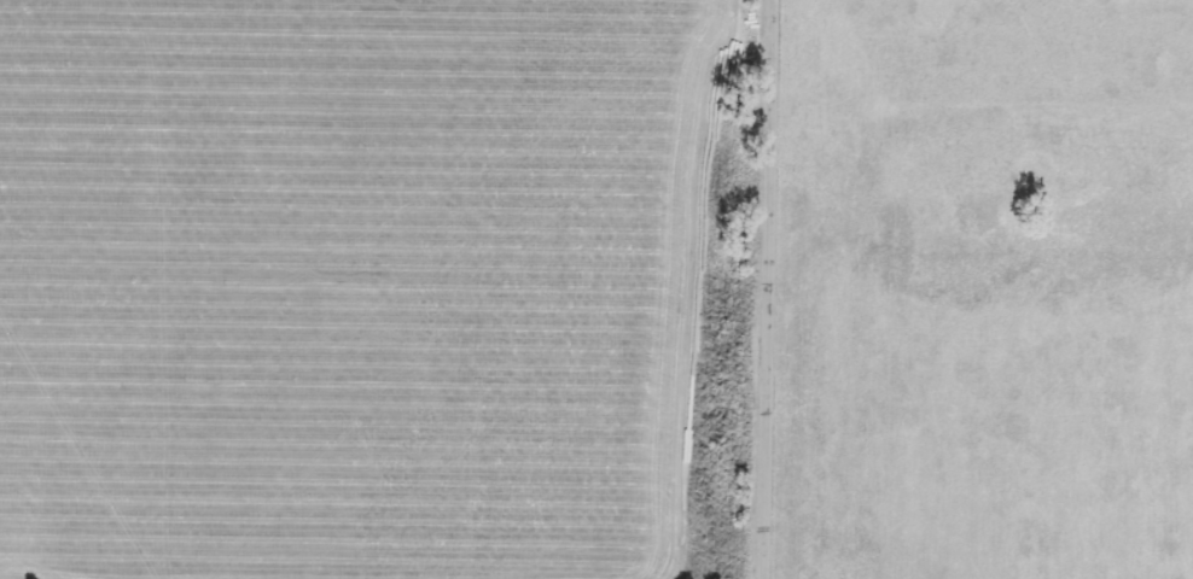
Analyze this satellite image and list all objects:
road: (760, 289)

